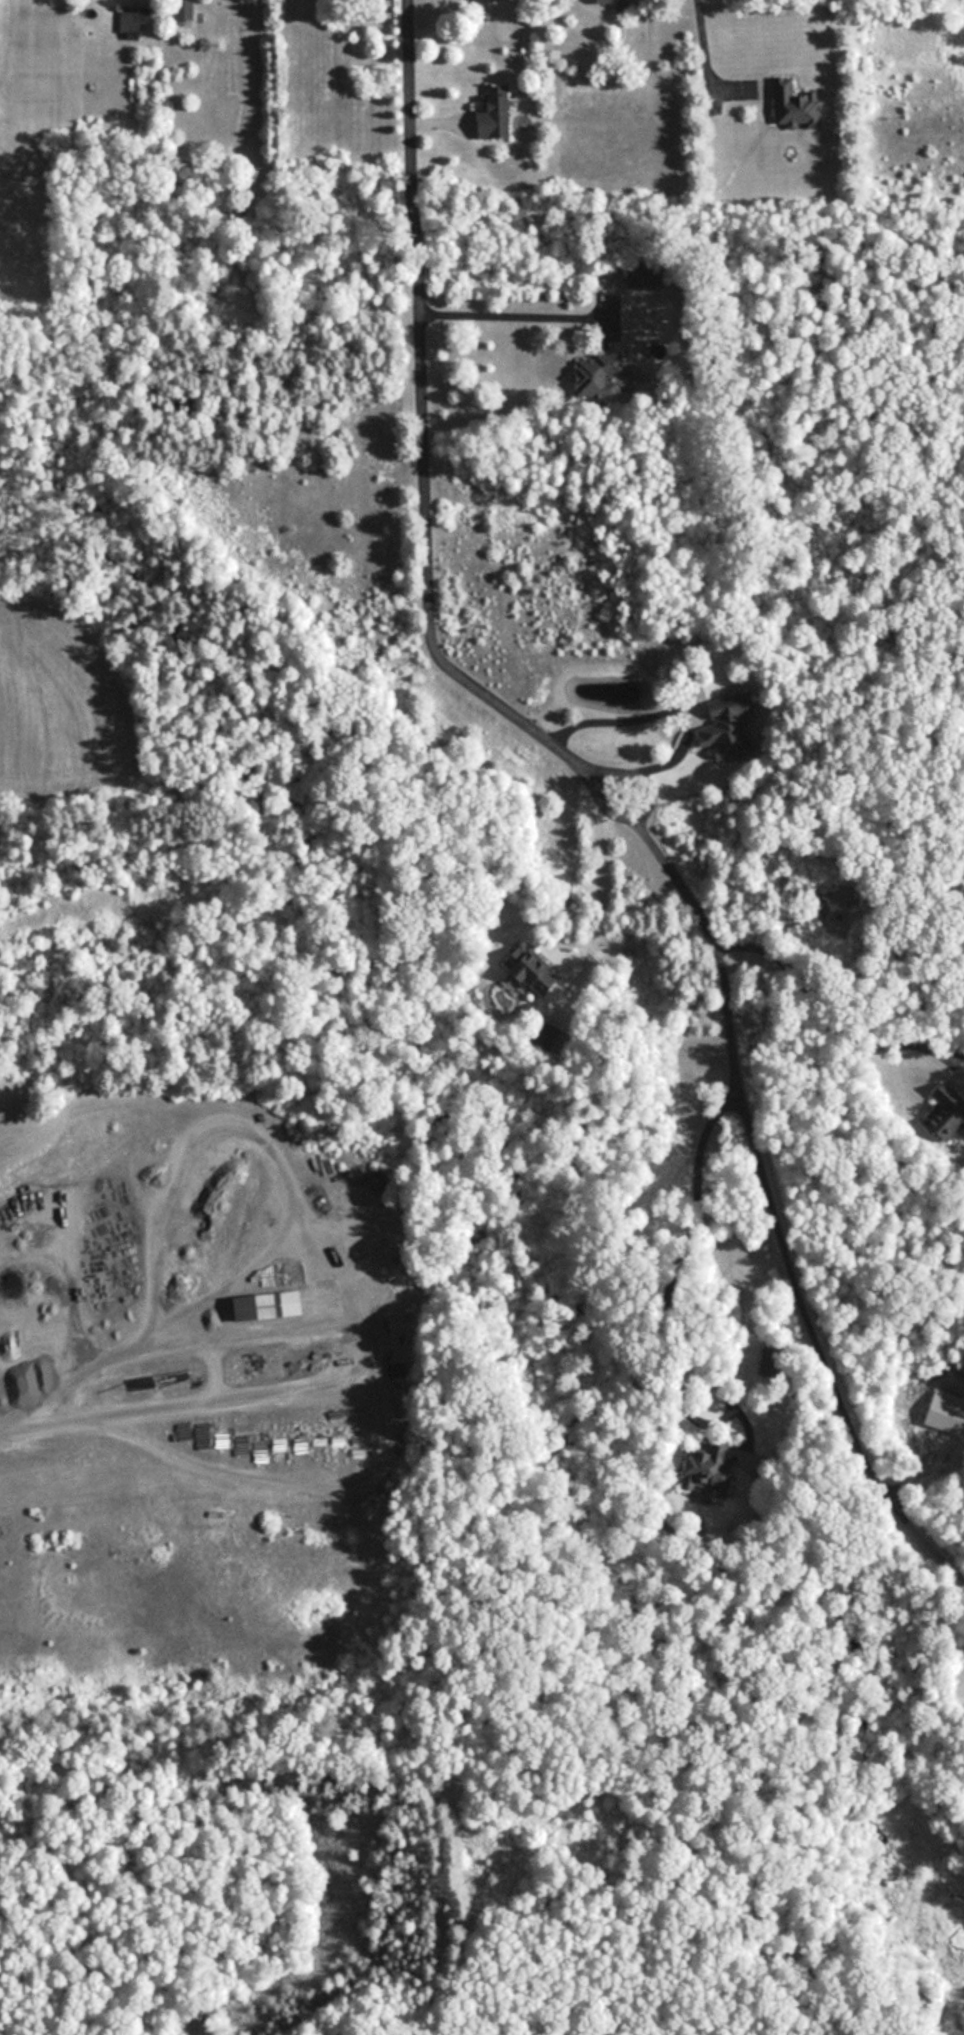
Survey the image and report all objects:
building: (616, 1)
building: (133, 21)
road: (702, 53)
building: (797, 104)
building: (497, 112)
building: (647, 274)
road: (511, 316)
building: (598, 374)
road: (421, 424)
building: (728, 733)
road: (642, 810)
road: (596, 904)
building: (536, 974)
road: (771, 1209)
building: (295, 1303)
building: (257, 1307)
road: (160, 1310)
building: (771, 1360)
building: (947, 1412)
building: (206, 1436)
road: (1, 1448)
park: (415, 1811)

